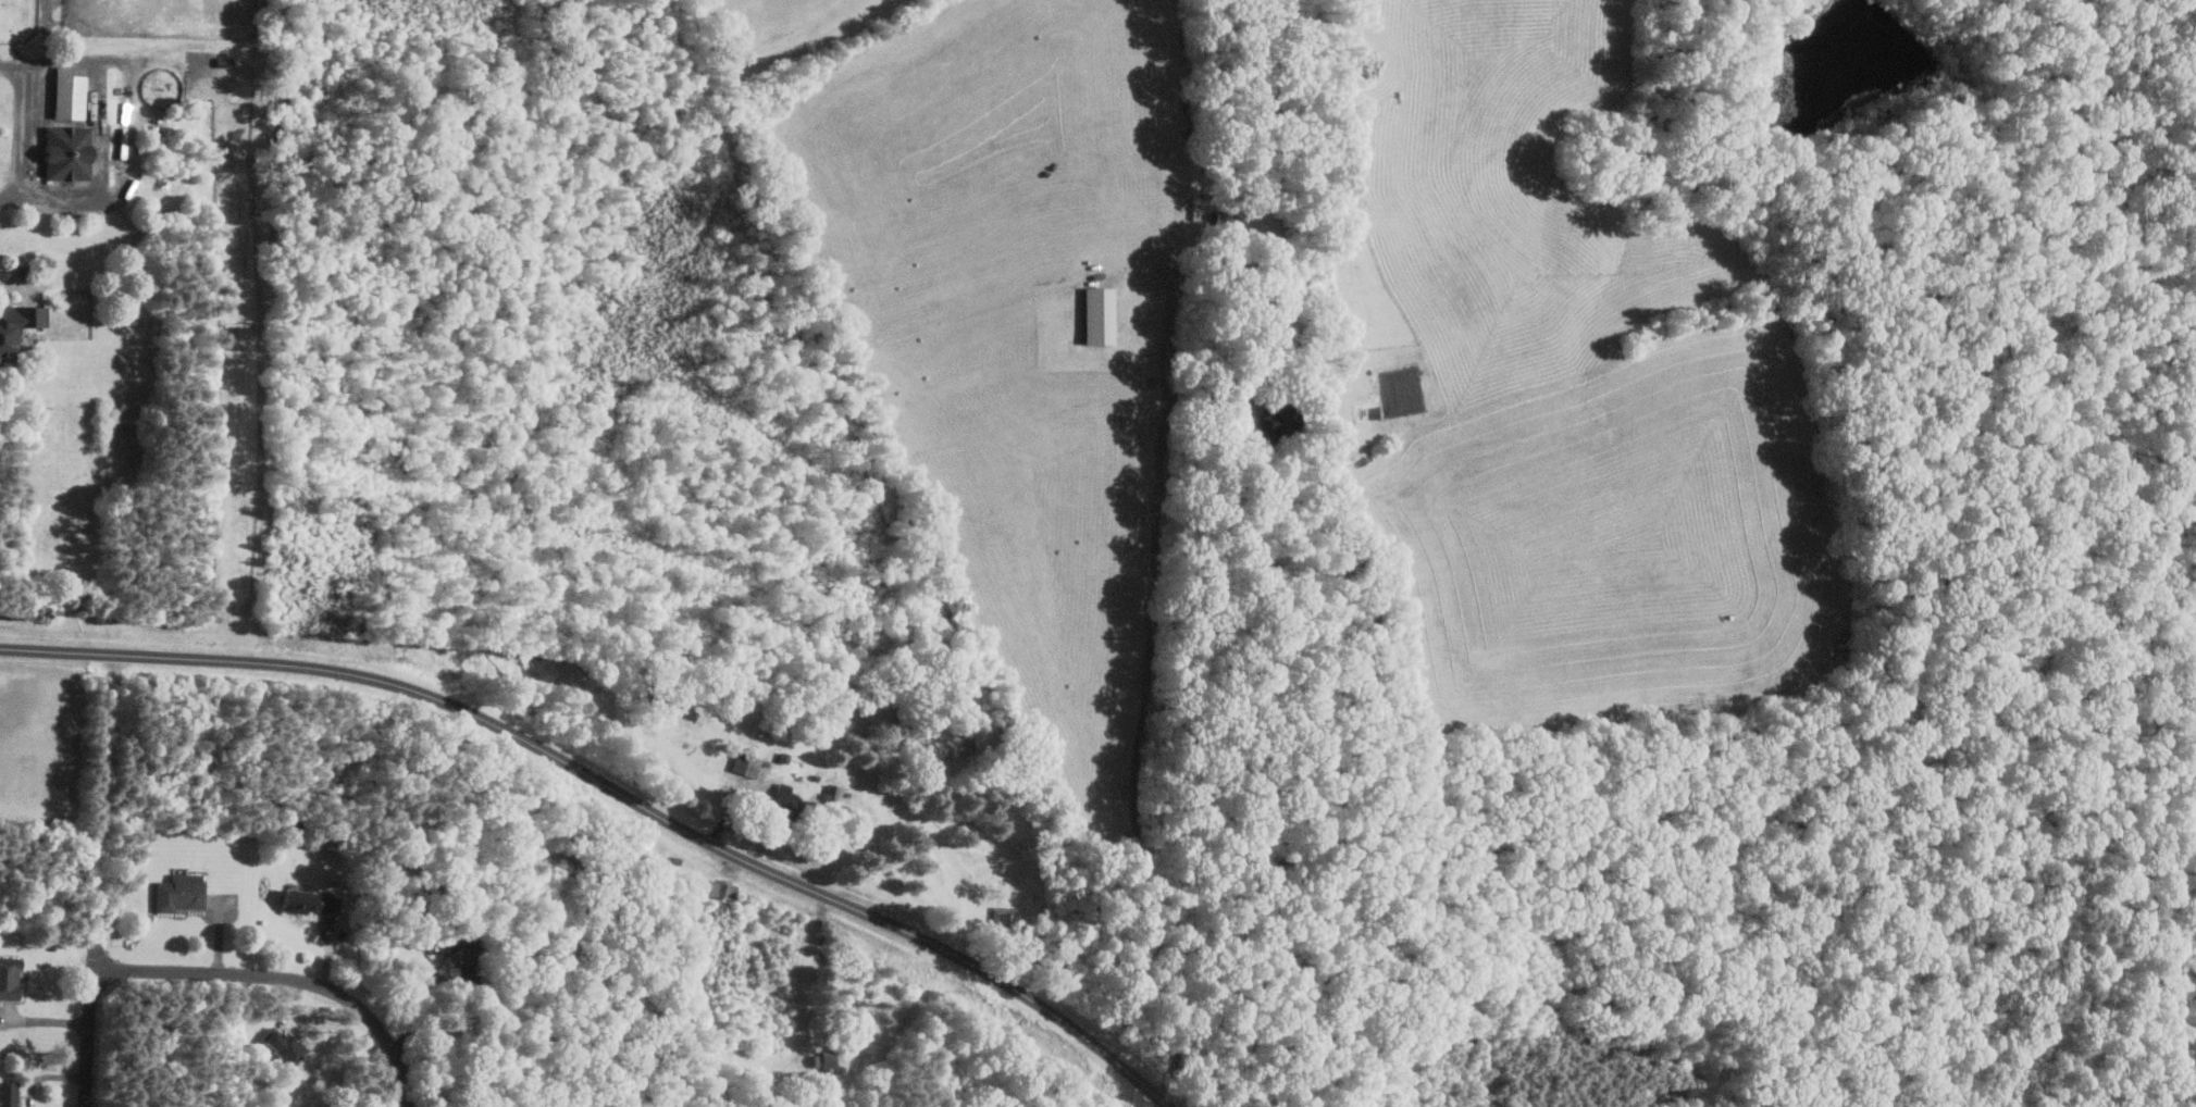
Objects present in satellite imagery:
building: (66, 91)
building: (64, 151)
building: (1097, 314)
building: (16, 325)
road: (1239, 430)
road: (1144, 699)
road: (616, 789)
park: (261, 819)
building: (721, 890)
building: (178, 893)
building: (307, 901)
building: (454, 946)
road: (285, 978)
road: (449, 980)
building: (8, 981)
road: (89, 1036)
building: (280, 1046)
building: (826, 1069)
road: (48, 1075)
building: (7, 1094)

